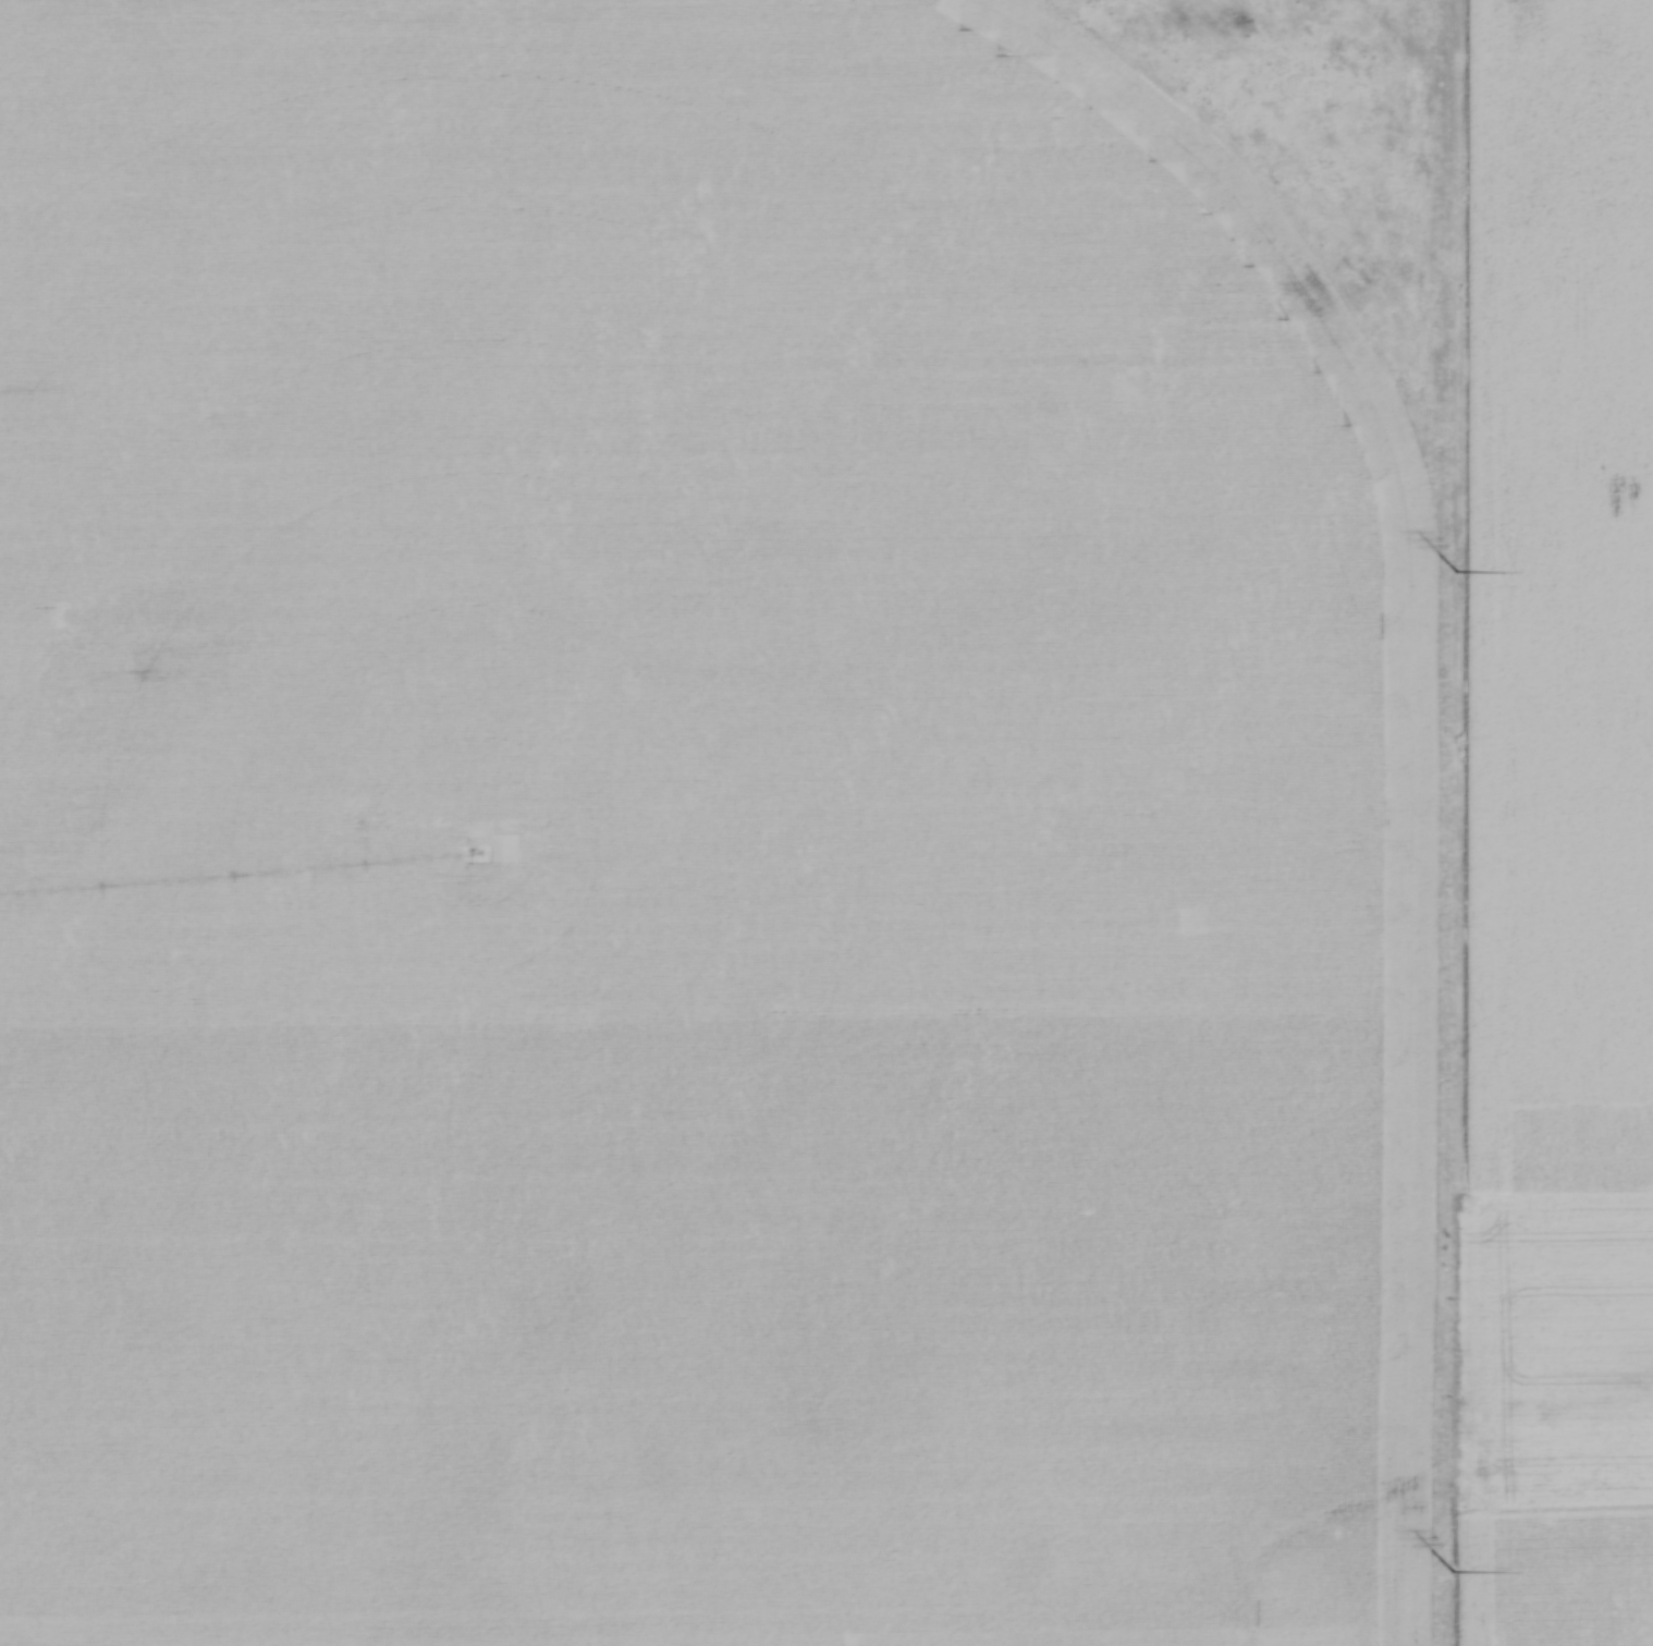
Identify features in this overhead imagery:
power tower: (1454, 571)
power tower: (1452, 1573)

